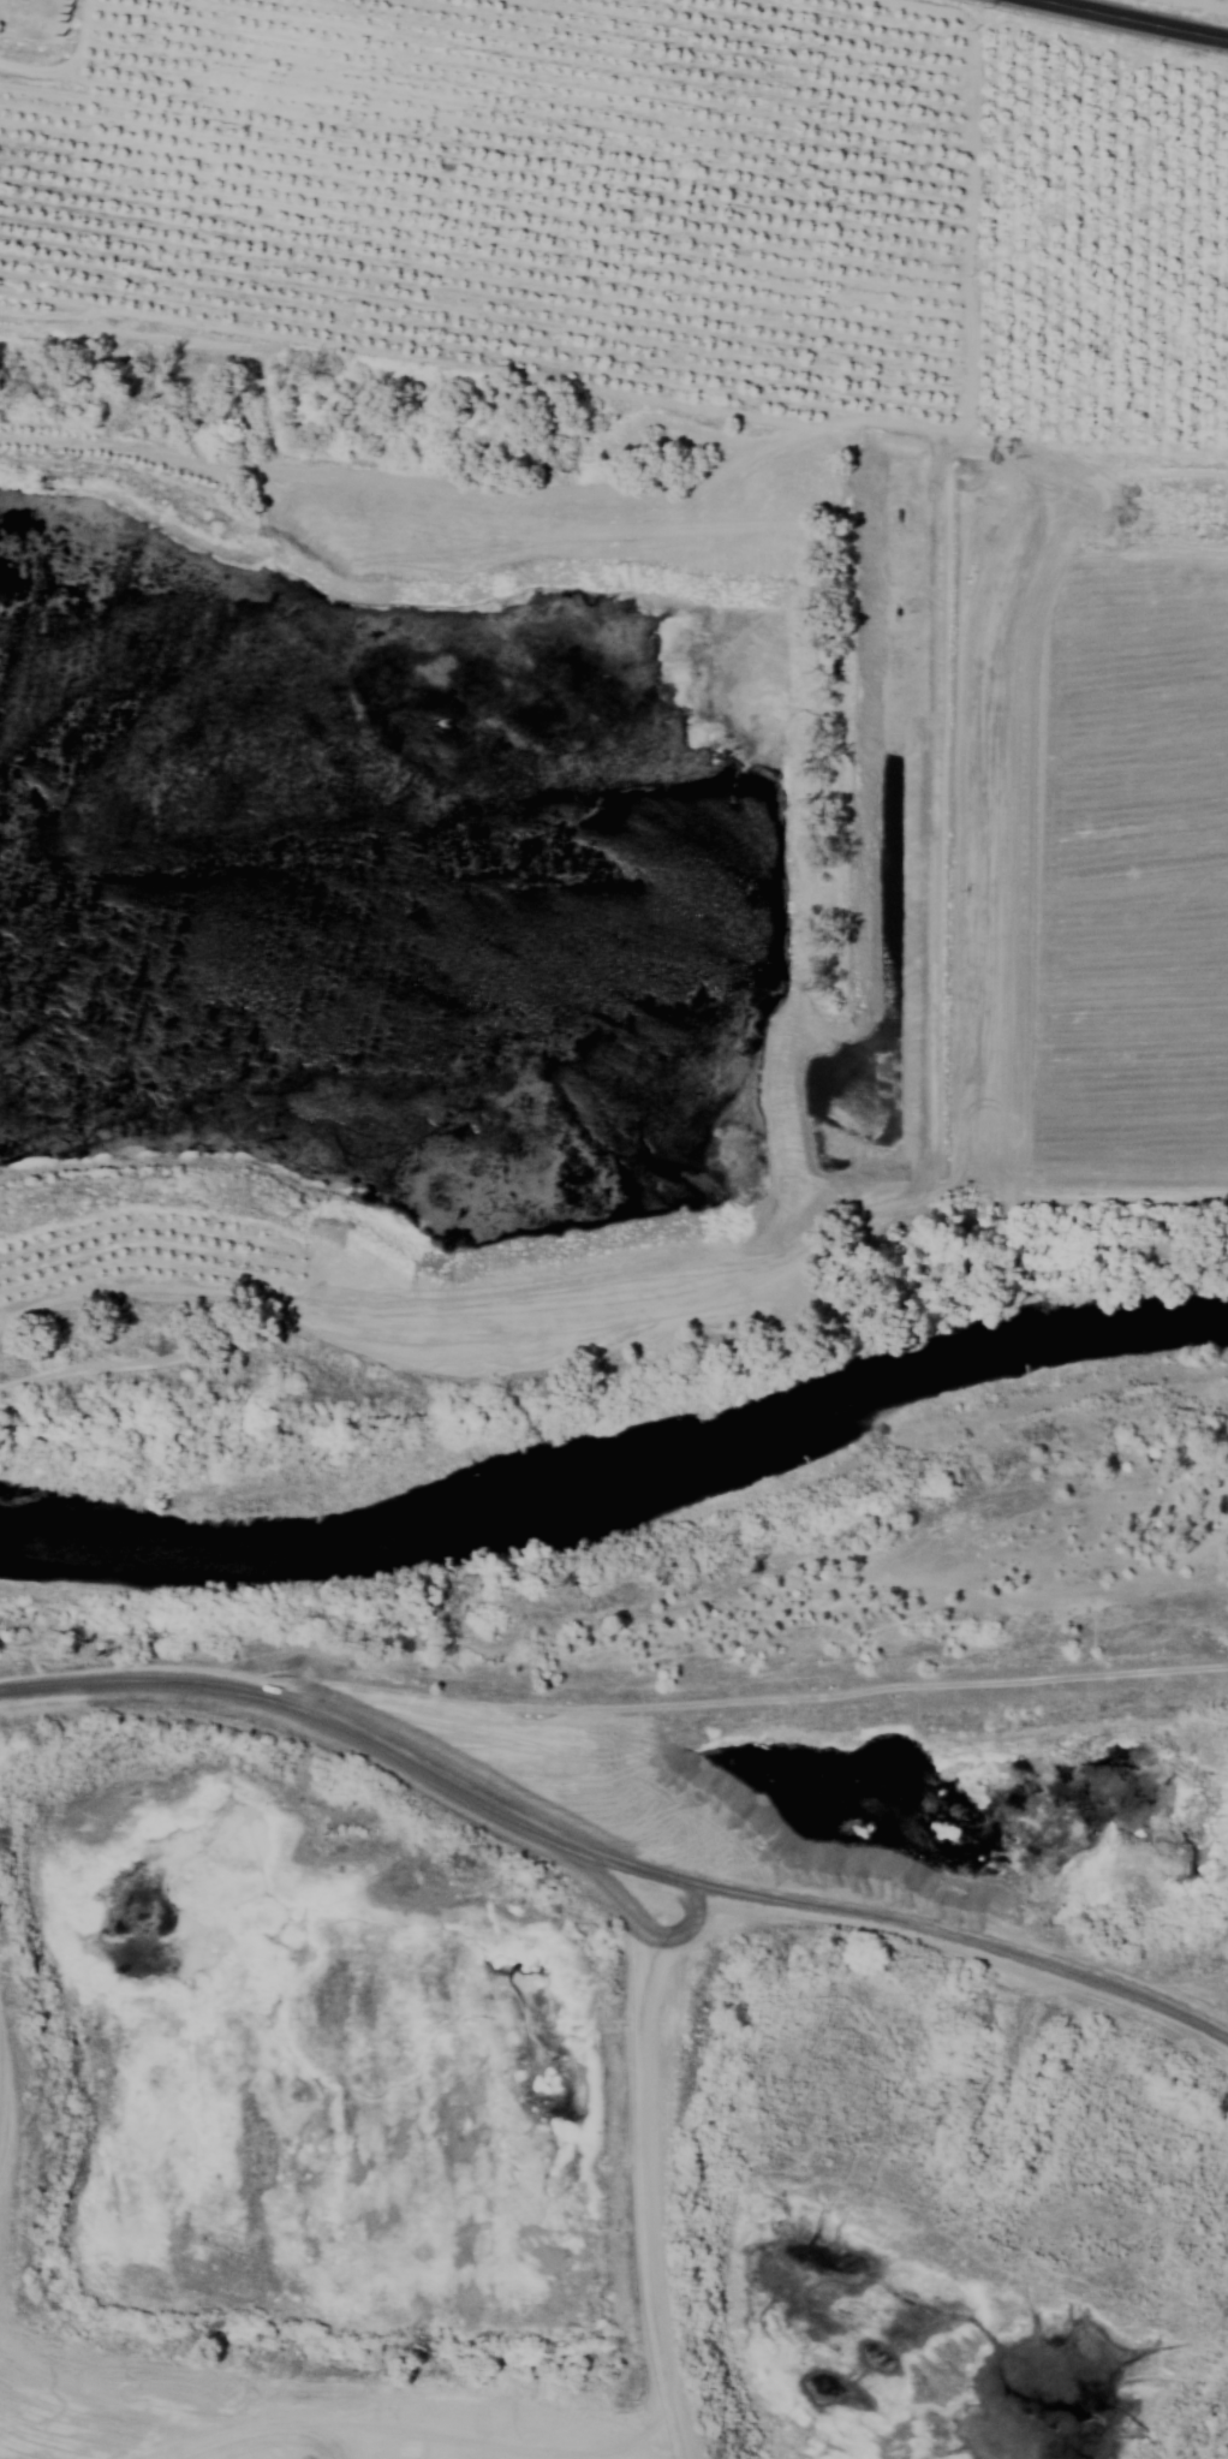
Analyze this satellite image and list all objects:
crop: (1155, 14)
road: (1138, 18)
park: (36, 23)
crop: (407, 185)
river: (616, 1478)

